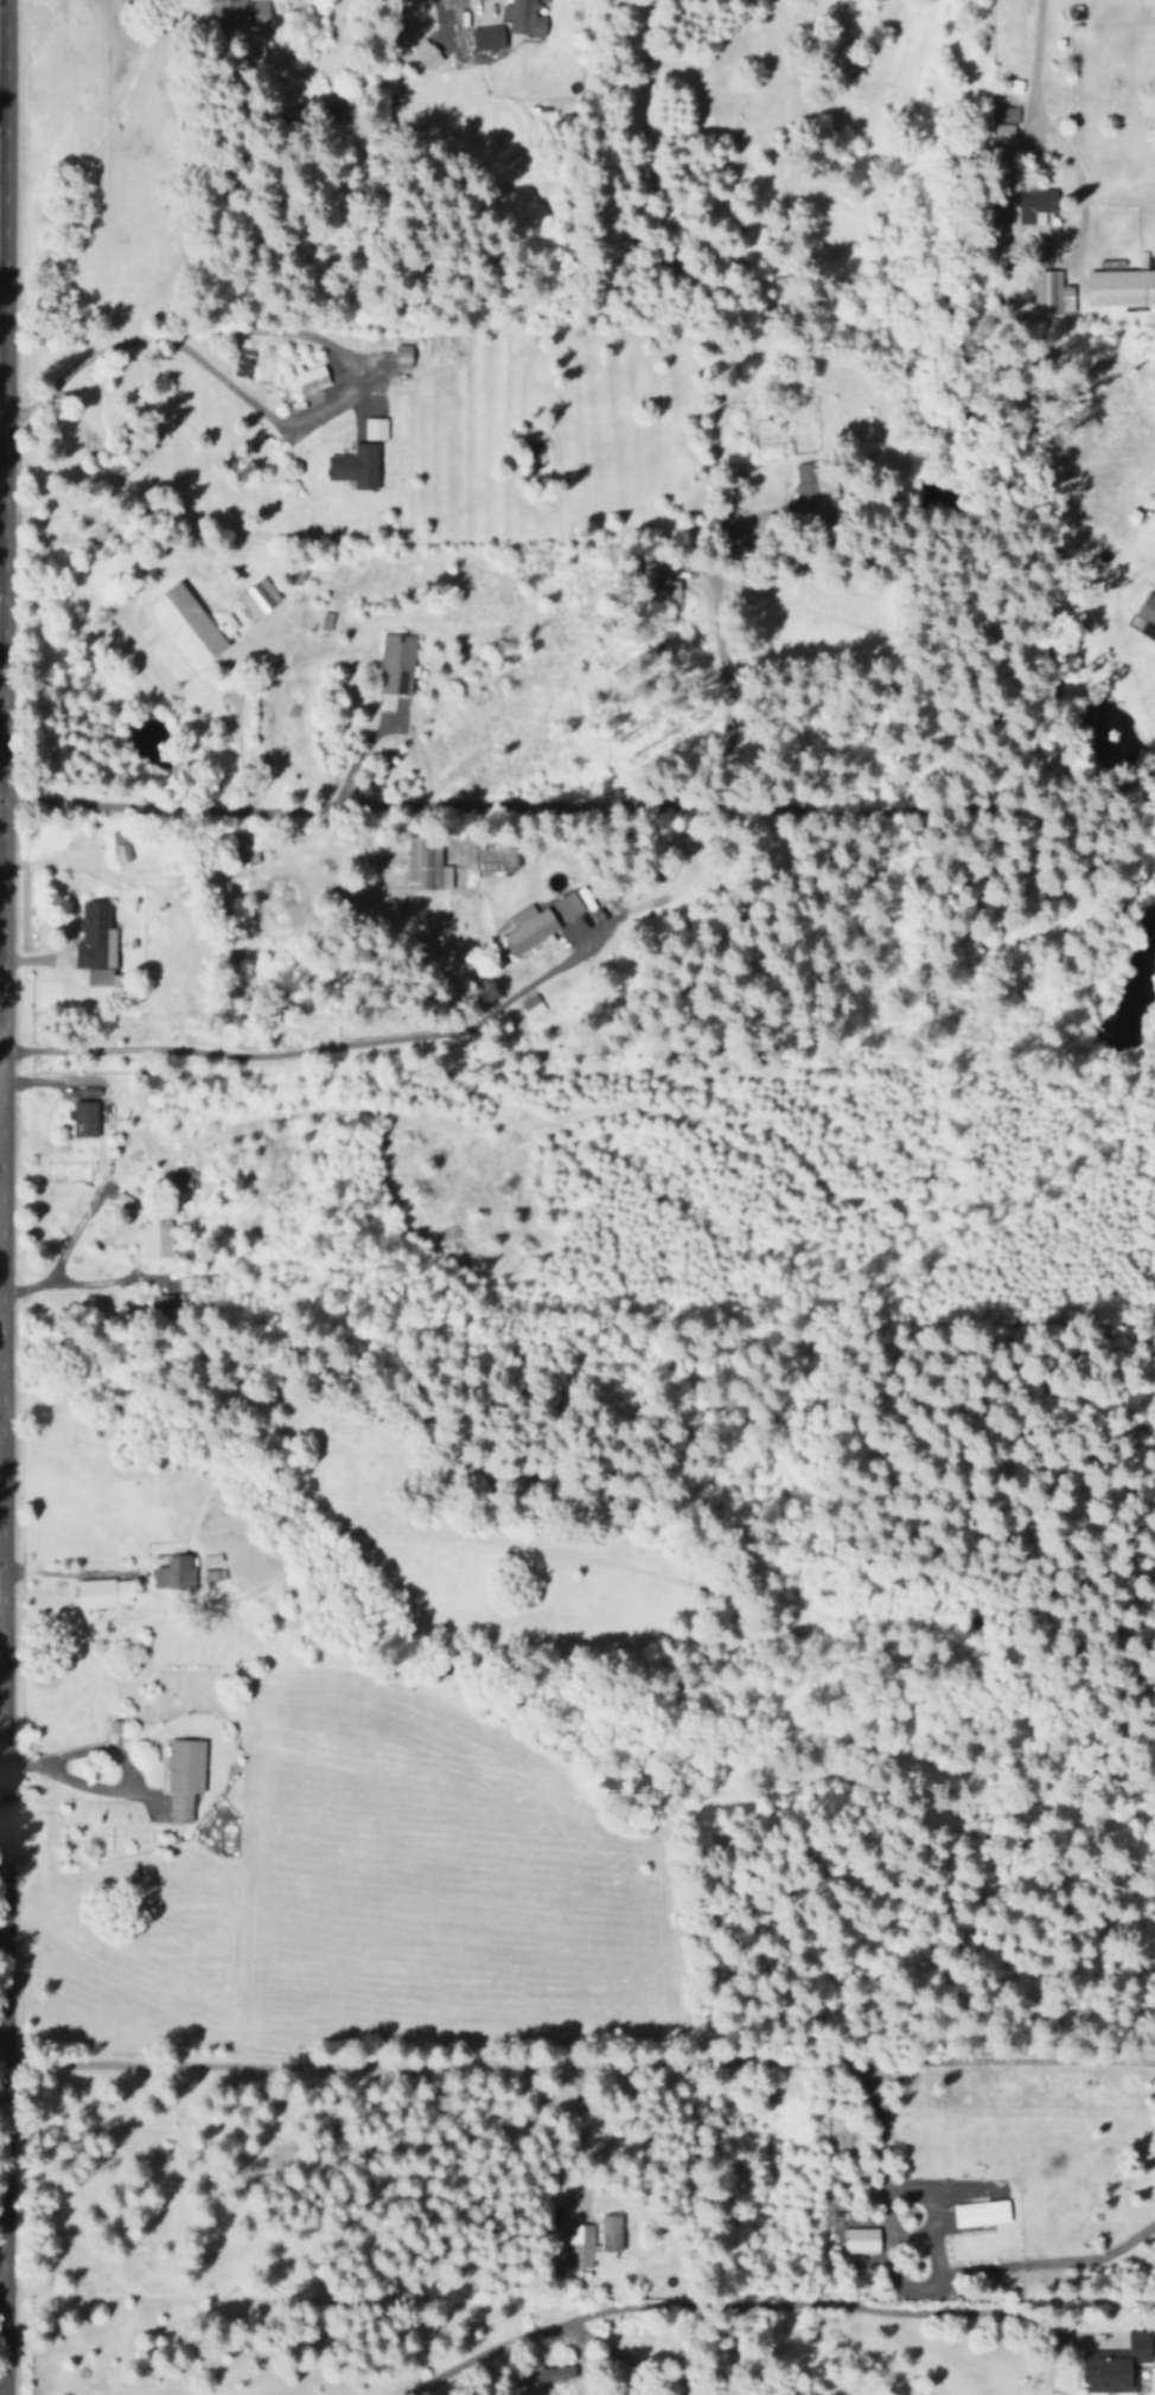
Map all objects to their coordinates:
building: (243, 14)
building: (523, 18)
building: (487, 37)
building: (426, 53)
road: (1032, 74)
building: (1003, 122)
road: (1, 197)
building: (1034, 202)
building: (1122, 287)
road: (0, 314)
building: (310, 378)
building: (374, 428)
building: (356, 465)
building: (813, 485)
building: (671, 595)
building: (1148, 613)
building: (185, 626)
building: (395, 663)
road: (581, 805)
building: (120, 850)
building: (426, 864)
building: (568, 905)
building: (529, 927)
building: (95, 943)
building: (532, 1005)
building: (84, 1118)
building: (183, 1179)
building: (154, 1239)
building: (167, 1301)
building: (173, 1572)
building: (212, 1575)
building: (103, 1591)
building: (184, 1776)
building: (981, 2212)
building: (577, 2234)
building: (860, 2240)
road: (723, 2308)
building: (1116, 2365)
building: (555, 2372)

